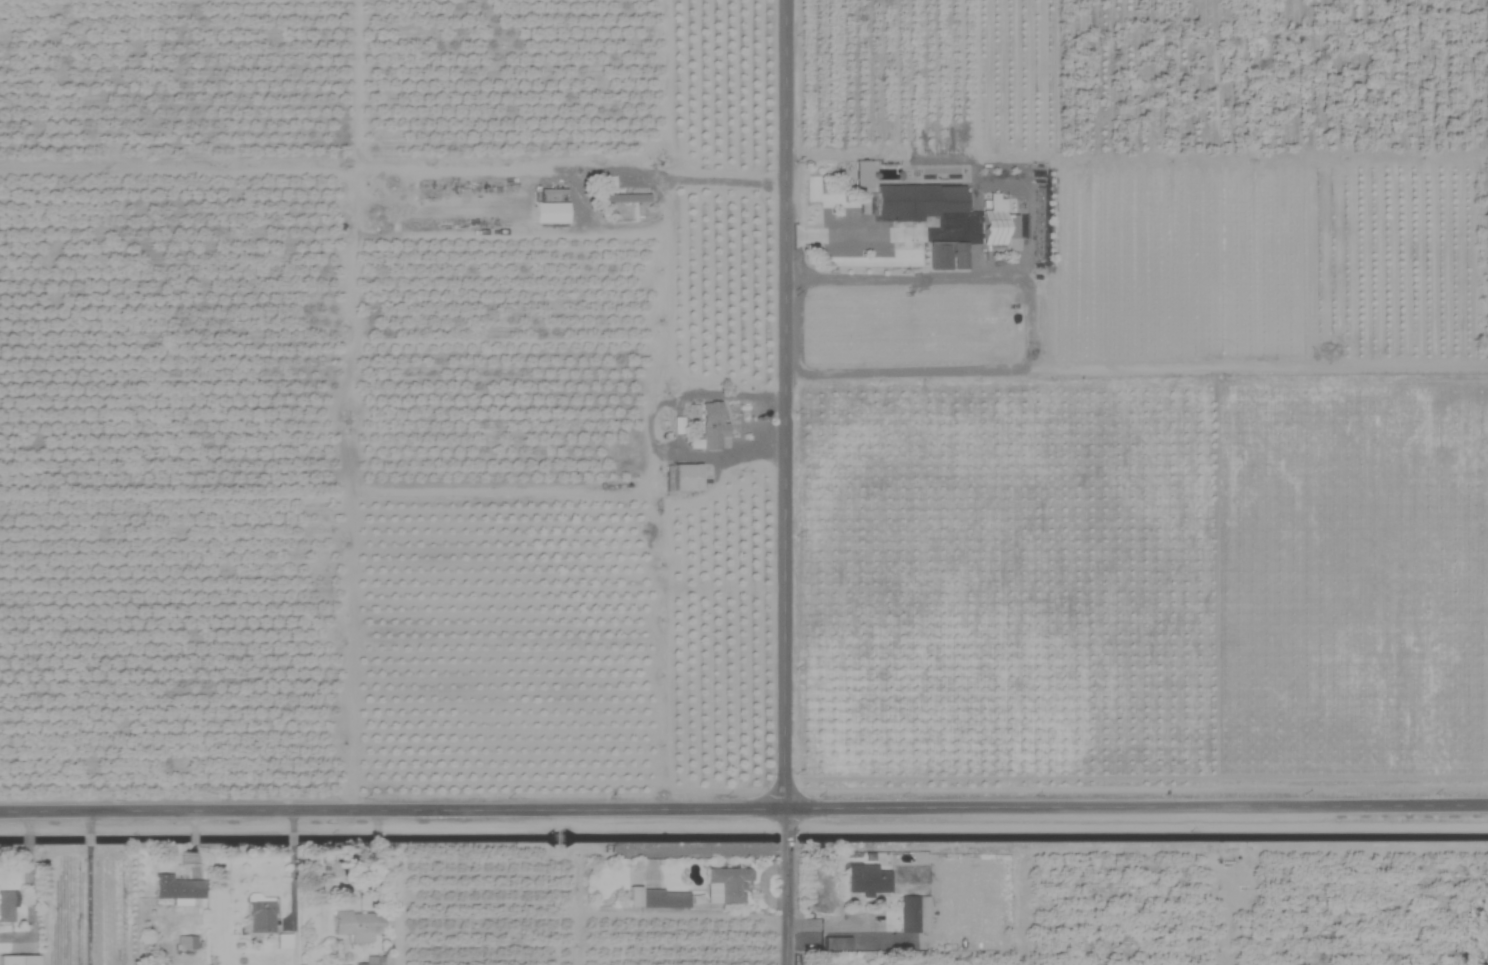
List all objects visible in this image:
building: (860, 174)
road: (668, 180)
building: (624, 197)
building: (915, 201)
building: (990, 227)
road: (868, 230)
building: (946, 255)
road: (995, 279)
building: (709, 426)
building: (684, 478)
road: (782, 482)
road: (743, 807)
road: (289, 821)
road: (84, 822)
road: (84, 839)
road: (290, 840)
building: (866, 879)
building: (727, 883)
building: (175, 887)
road: (291, 892)
building: (662, 898)
building: (5, 904)
road: (84, 905)
building: (912, 914)
building: (259, 916)
building: (356, 925)
building: (17, 959)
building: (367, 963)

